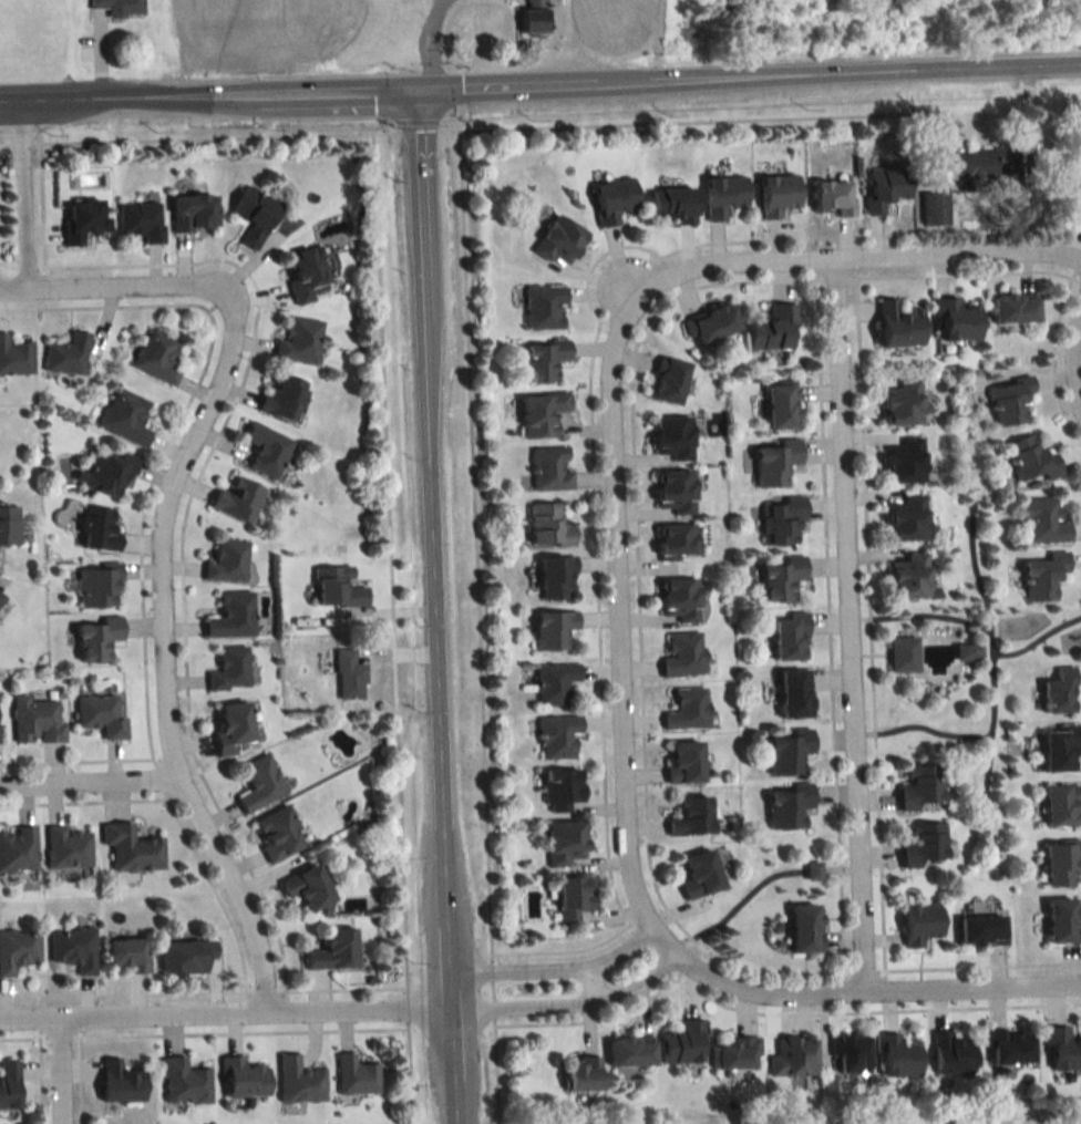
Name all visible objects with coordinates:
building: (121, 7)
building: (534, 20)
crop: (611, 23)
crop: (265, 30)
road: (429, 45)
road: (540, 90)
road: (216, 133)
road: (24, 140)
road: (8, 141)
building: (988, 161)
building: (887, 187)
building: (1077, 188)
building: (725, 194)
building: (780, 194)
road: (21, 195)
building: (834, 196)
building: (615, 199)
building: (675, 205)
building: (935, 208)
building: (194, 213)
building: (255, 216)
building: (84, 219)
building: (142, 219)
building: (560, 240)
road: (855, 252)
building: (305, 274)
road: (97, 290)
building: (545, 308)
building: (1016, 309)
building: (959, 319)
building: (712, 323)
building: (900, 324)
building: (774, 329)
building: (299, 341)
road: (1074, 353)
building: (68, 354)
building: (157, 355)
building: (14, 357)
building: (545, 360)
building: (670, 381)
building: (284, 396)
building: (1010, 401)
building: (904, 403)
building: (783, 406)
building: (543, 414)
building: (125, 416)
road: (384, 417)
building: (675, 437)
building: (266, 450)
building: (1032, 460)
building: (906, 461)
building: (775, 463)
building: (550, 468)
building: (107, 473)
building: (677, 492)
building: (238, 498)
building: (909, 518)
building: (1042, 522)
building: (784, 523)
building: (549, 526)
building: (9, 527)
building: (101, 528)
building: (679, 542)
building: (227, 561)
building: (913, 575)
building: (1044, 576)
building: (557, 577)
building: (783, 578)
building: (99, 588)
building: (337, 588)
road: (475, 592)
building: (1, 598)
building: (681, 599)
road: (620, 606)
road: (428, 610)
building: (231, 616)
road: (851, 619)
building: (554, 629)
building: (97, 638)
building: (792, 638)
road: (159, 649)
building: (686, 654)
building: (904, 654)
building: (229, 669)
building: (348, 676)
building: (556, 682)
building: (1060, 691)
building: (796, 694)
building: (689, 710)
building: (100, 715)
building: (37, 720)
building: (231, 725)
building: (559, 736)
building: (1060, 750)
building: (791, 753)
building: (687, 762)
building: (259, 783)
road: (85, 786)
building: (922, 787)
building: (565, 790)
building: (1063, 805)
building: (790, 806)
building: (693, 816)
building: (278, 834)
building: (566, 842)
building: (925, 845)
building: (66, 847)
building: (131, 847)
road: (402, 848)
building: (18, 849)
building: (1062, 864)
building: (702, 874)
building: (309, 887)
building: (576, 897)
building: (1064, 920)
building: (922, 924)
building: (806, 929)
building: (982, 930)
building: (73, 948)
building: (18, 949)
building: (336, 950)
building: (126, 955)
building: (186, 957)
road: (557, 966)
road: (596, 980)
road: (856, 986)
road: (572, 1001)
road: (408, 1004)
road: (226, 1014)
building: (684, 1043)
building: (1011, 1048)
building: (1063, 1048)
building: (632, 1052)
building: (851, 1053)
building: (738, 1054)
building: (954, 1054)
building: (793, 1058)
building: (898, 1058)
road: (409, 1070)
road: (55, 1074)
building: (584, 1075)
building: (357, 1076)
building: (244, 1079)
building: (184, 1082)
building: (300, 1082)
building: (121, 1083)
building: (9, 1084)

